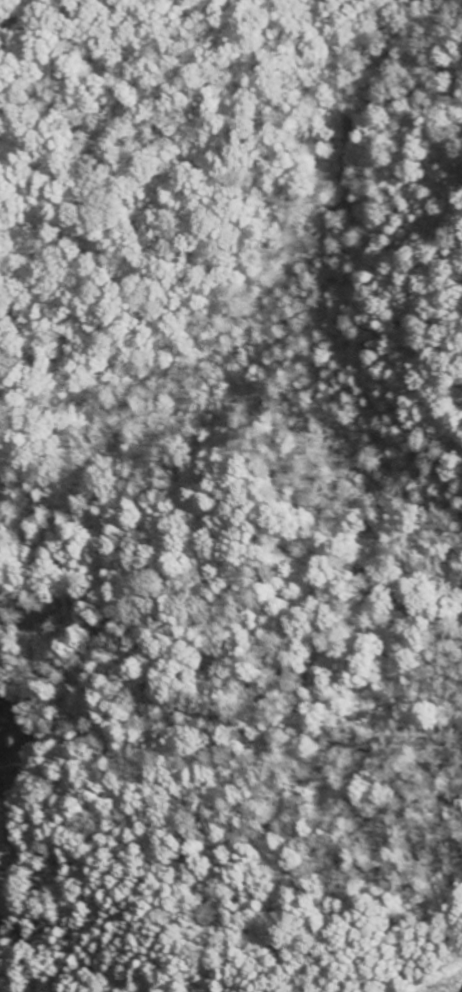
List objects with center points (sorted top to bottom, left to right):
road: (348, 176)

